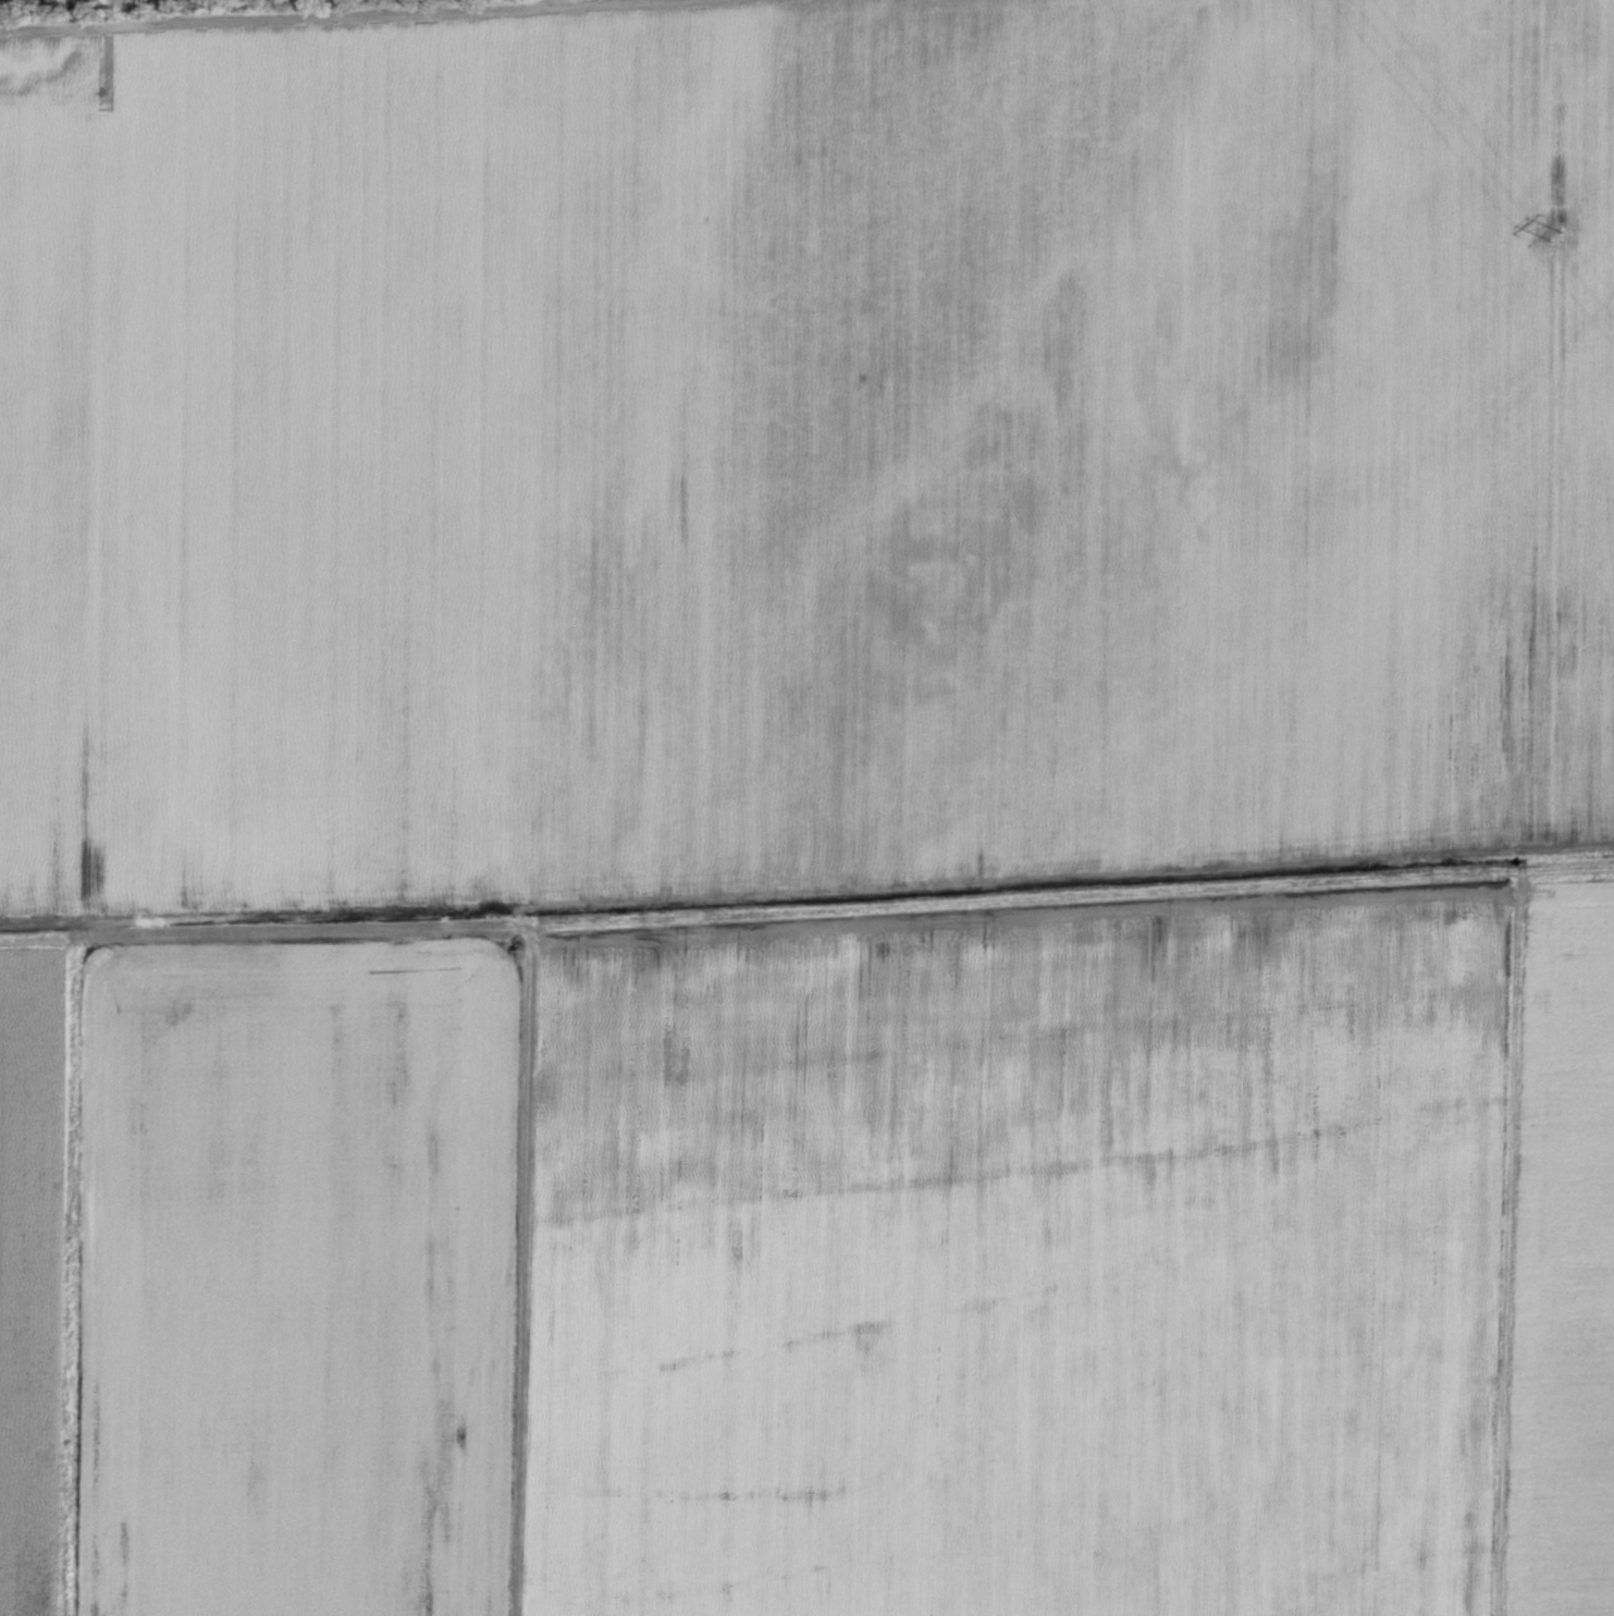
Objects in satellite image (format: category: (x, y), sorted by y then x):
power tower: (1562, 233)

